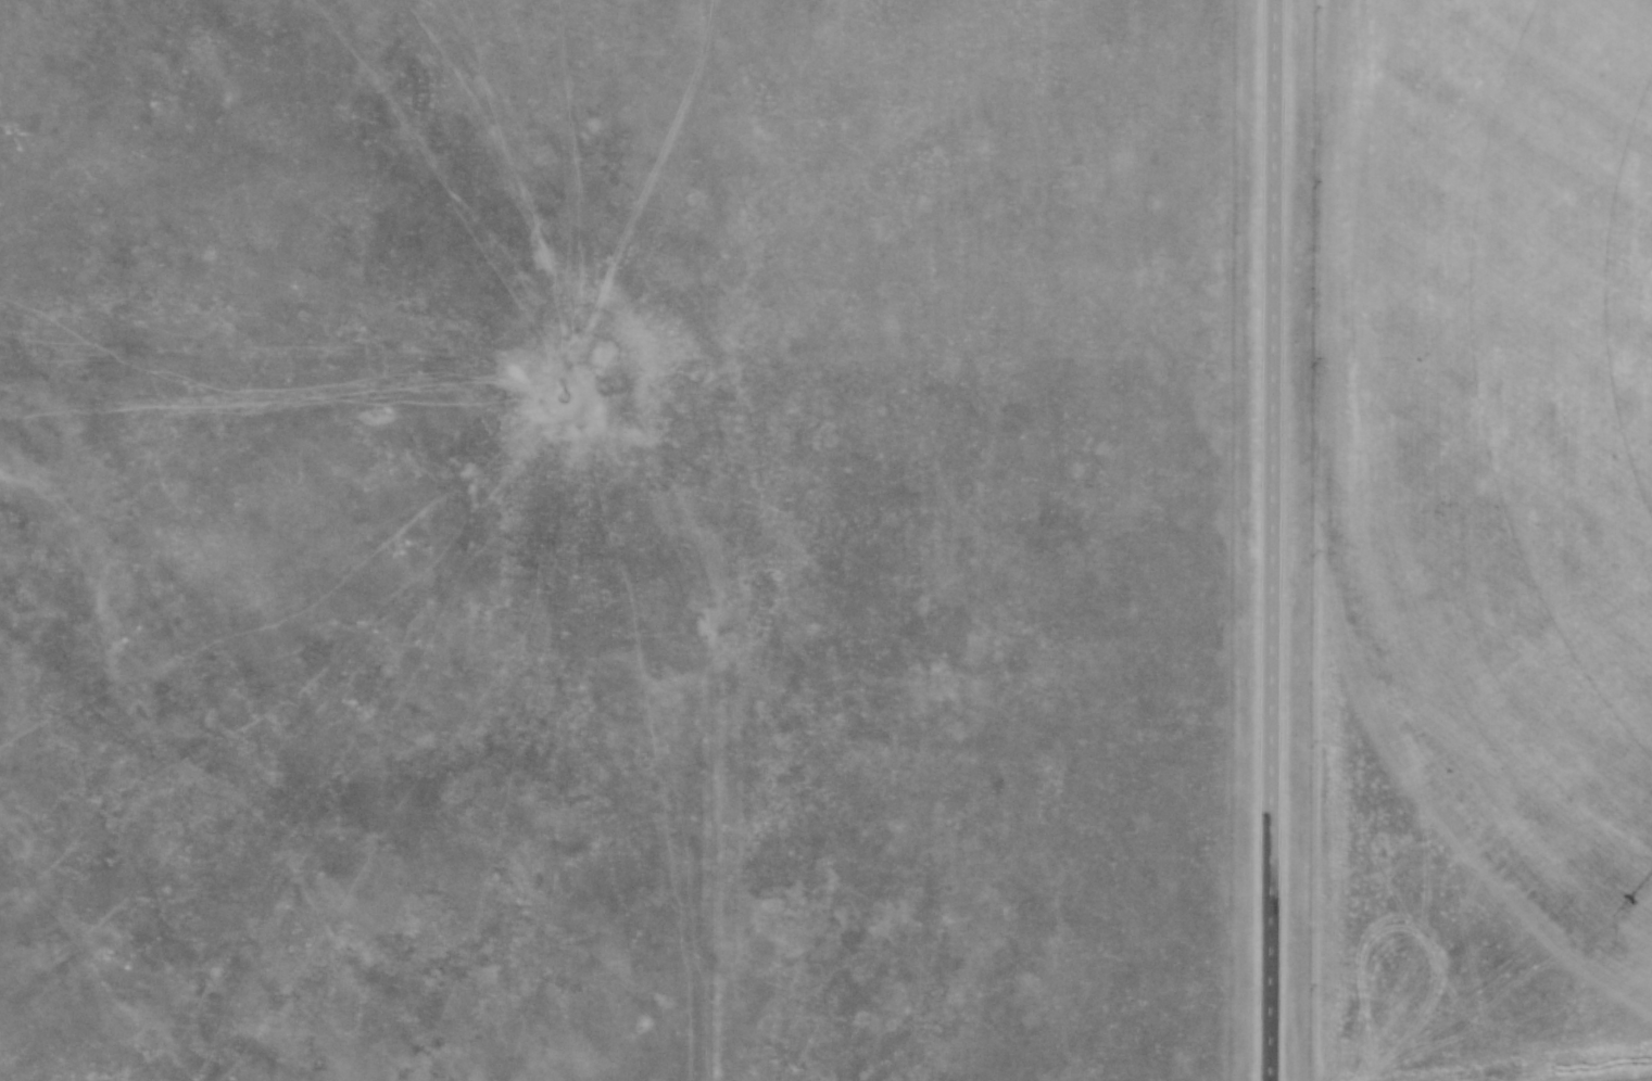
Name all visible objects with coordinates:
road: (1268, 540)

